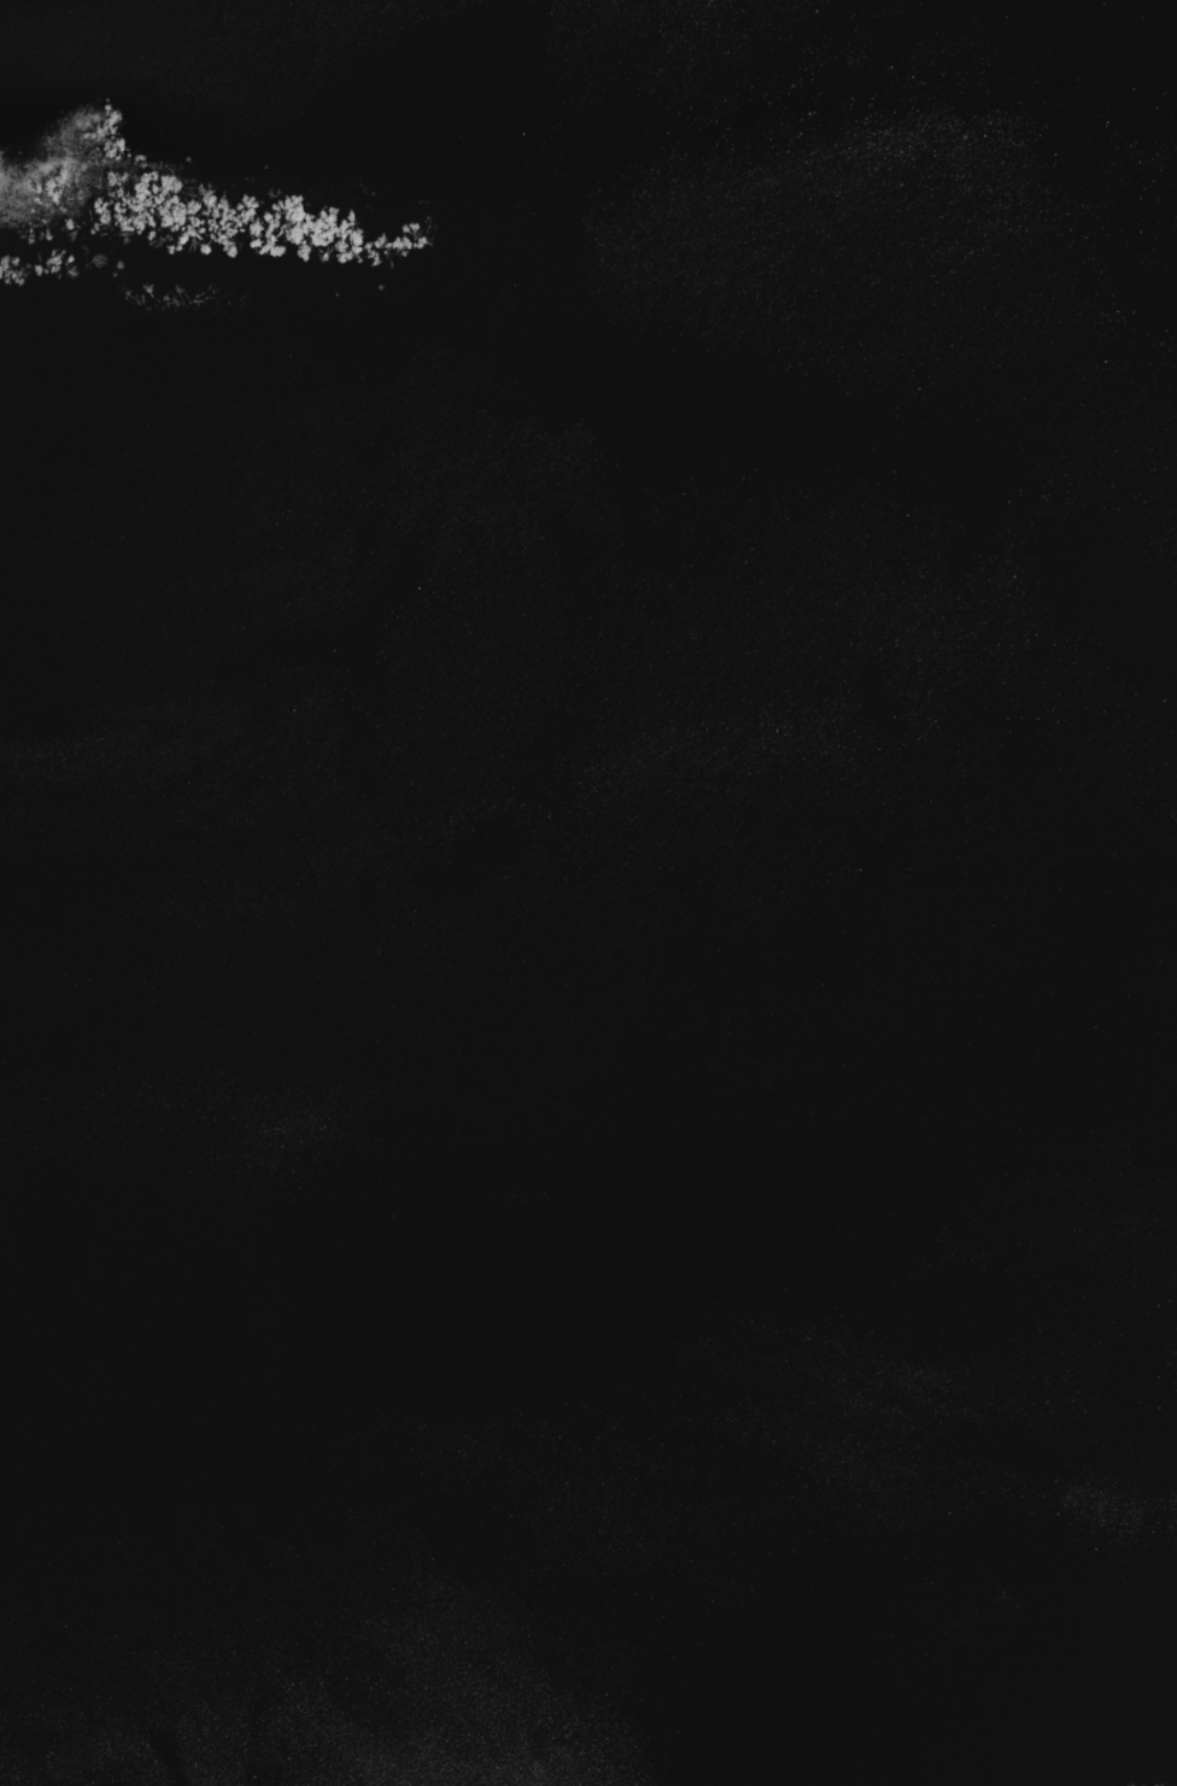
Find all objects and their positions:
river: (487, 1011)

